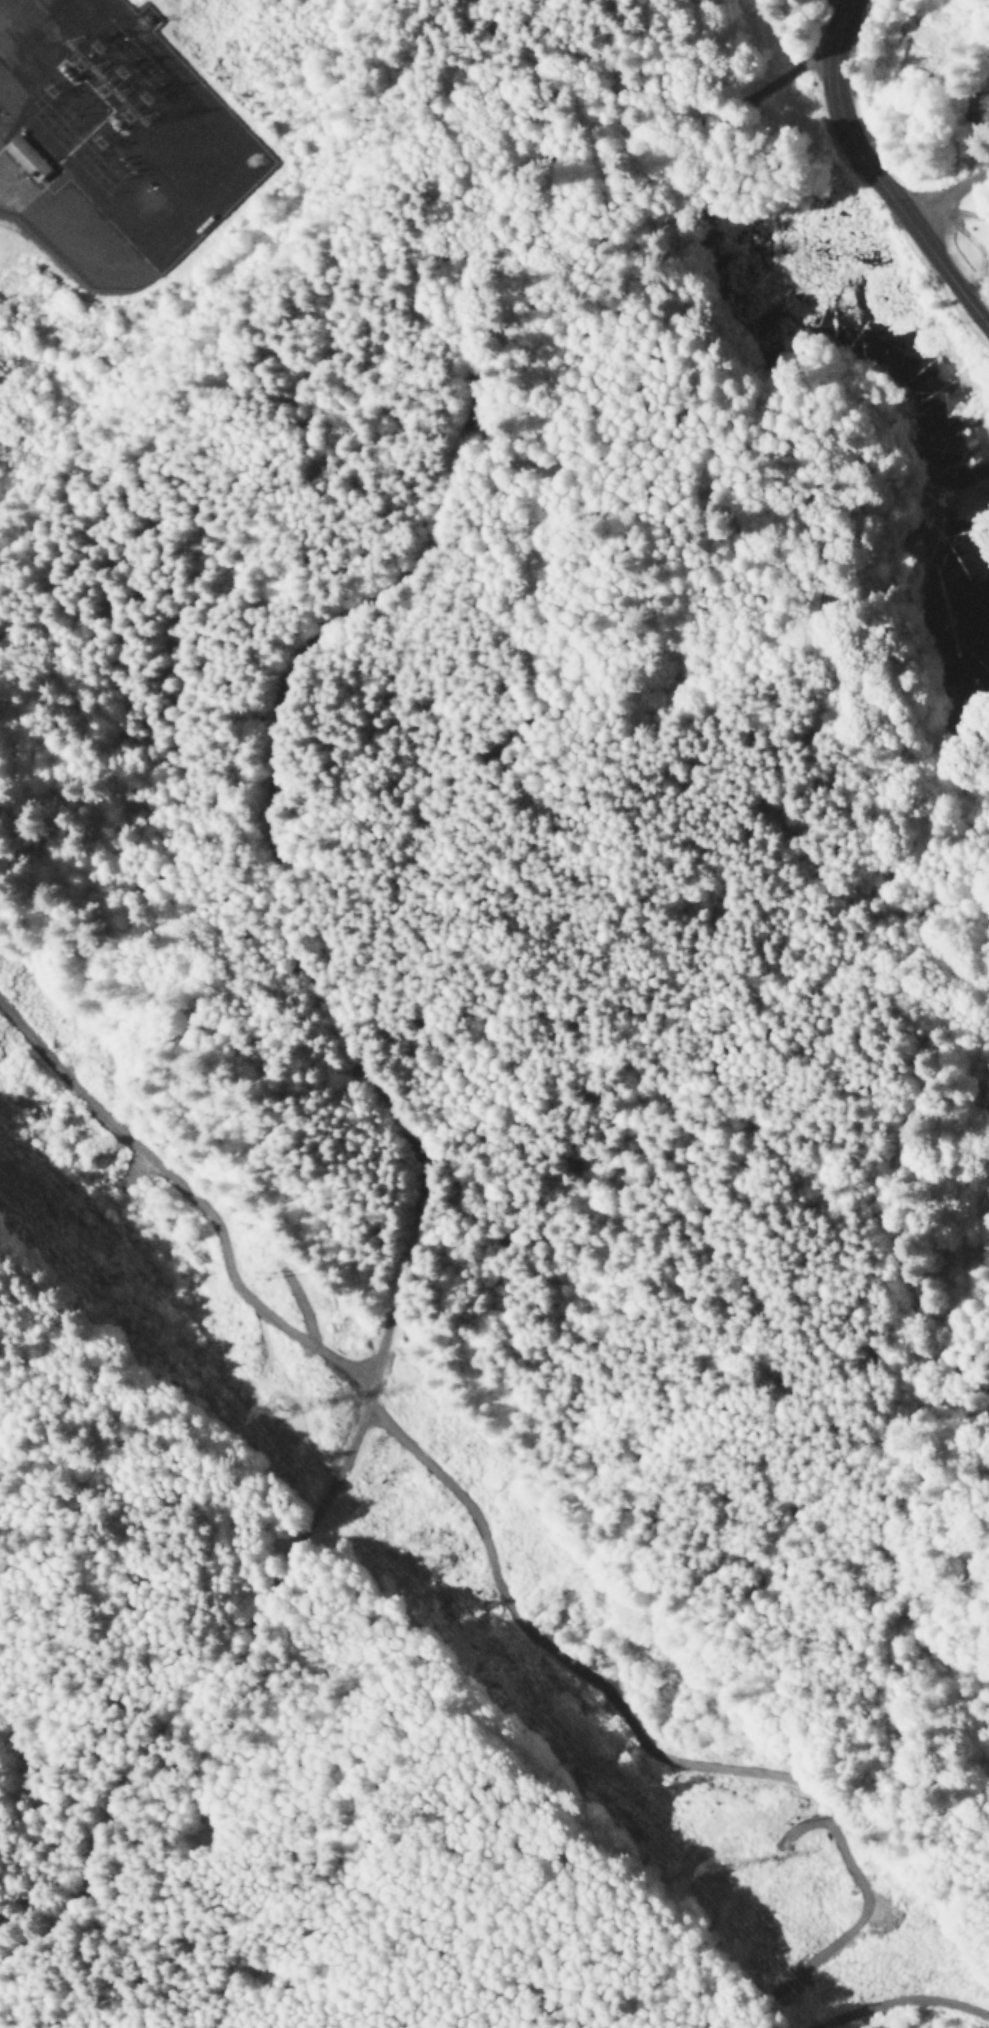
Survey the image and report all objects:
road: (832, 16)
building: (978, 109)
power substation: (111, 140)
building: (28, 160)
road: (874, 175)
road: (948, 198)
road: (285, 952)
power tower: (275, 1277)
power tower: (273, 1411)
power tower: (796, 1819)
power tower: (716, 1871)
road: (21, 2009)
road: (67, 2009)

